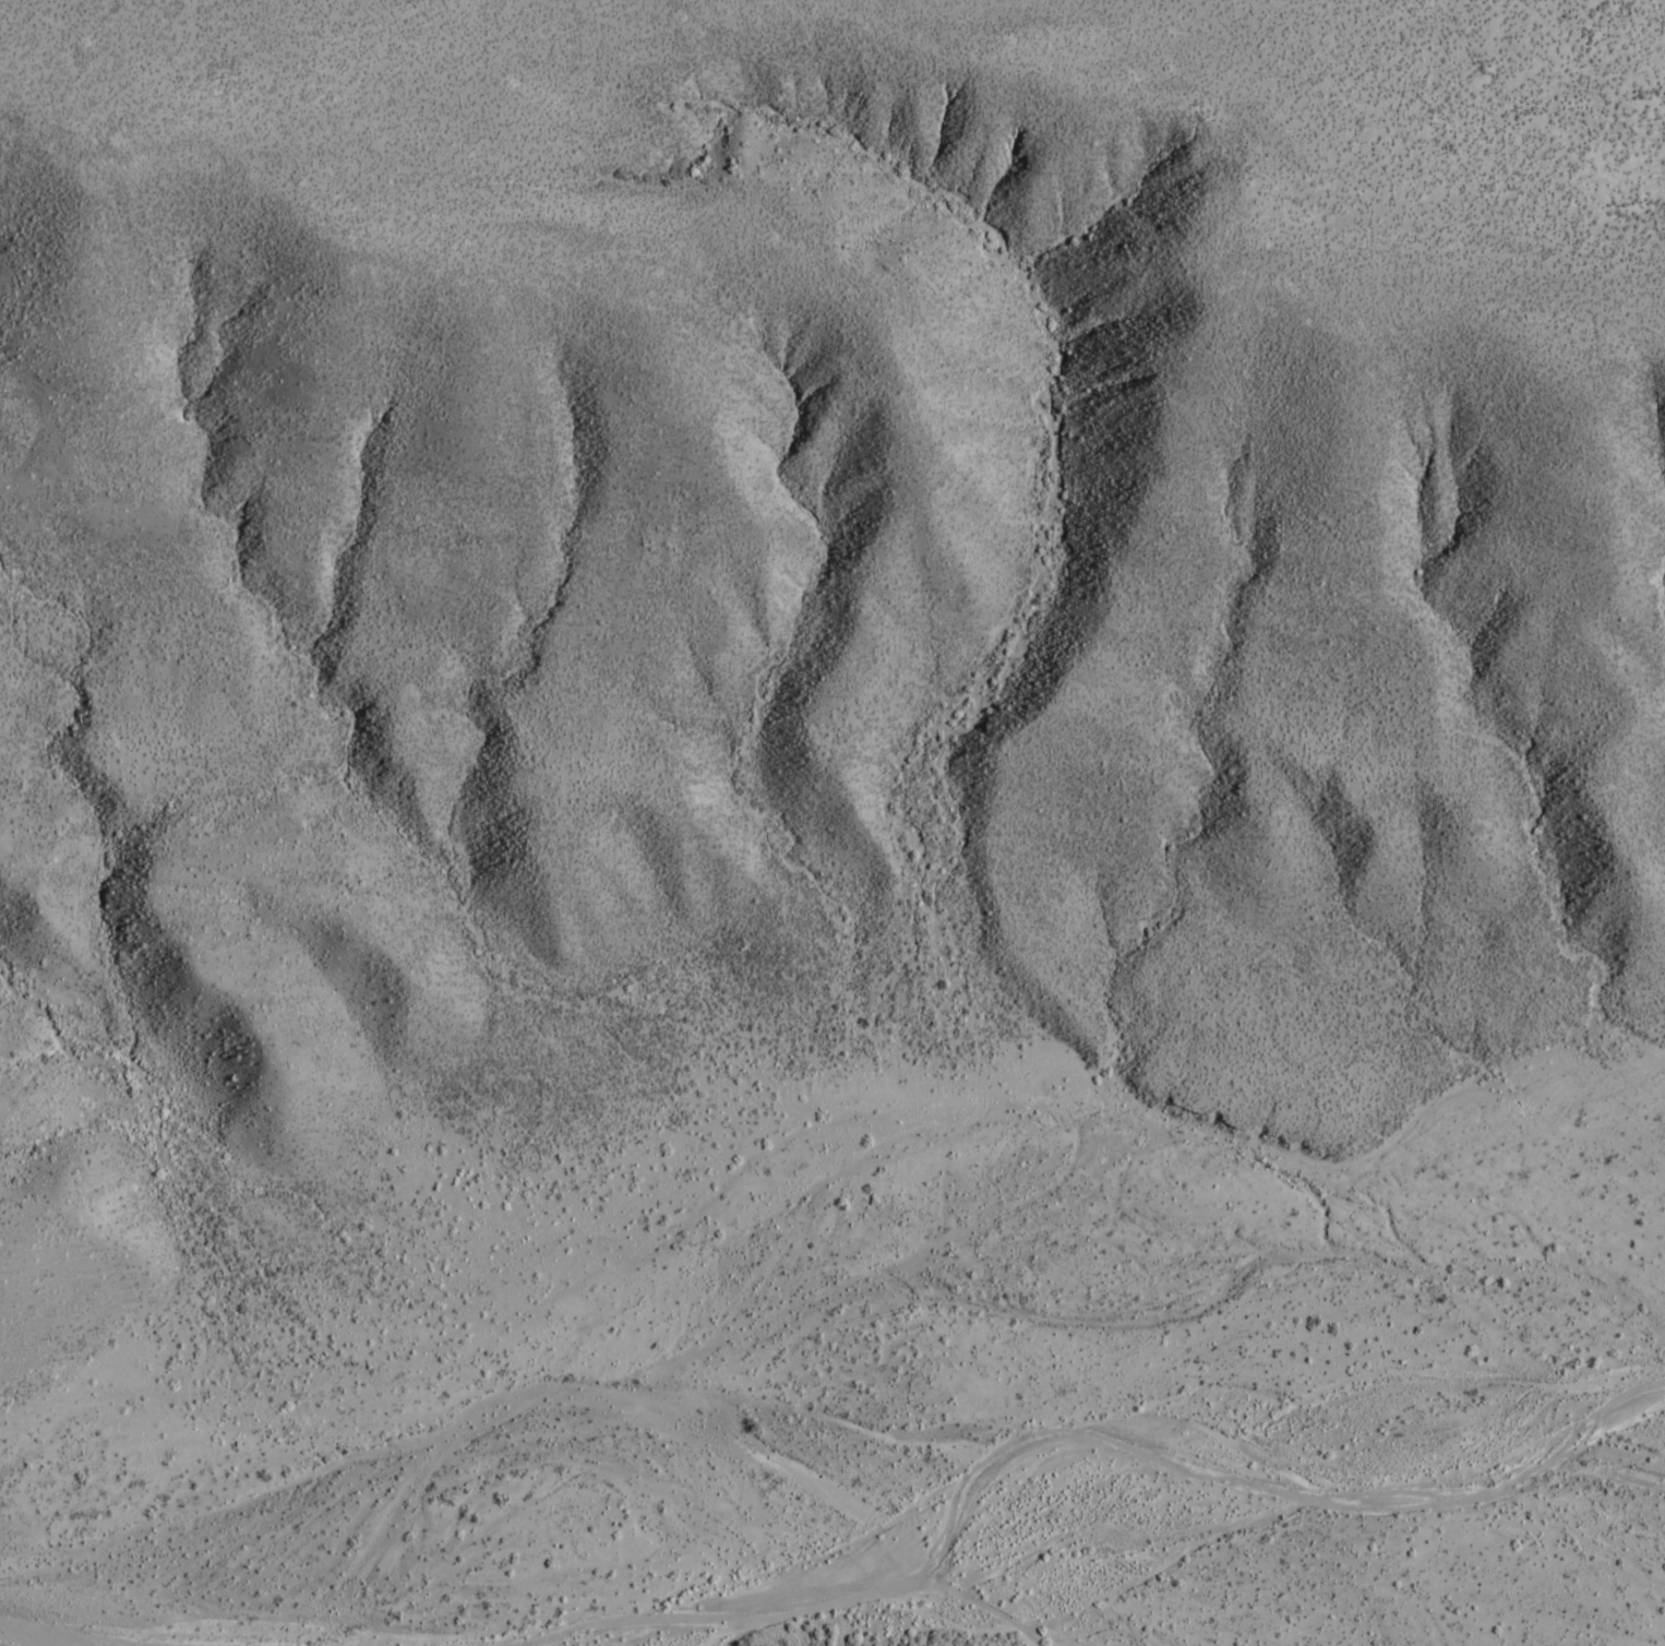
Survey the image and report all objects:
road: (860, 1611)

